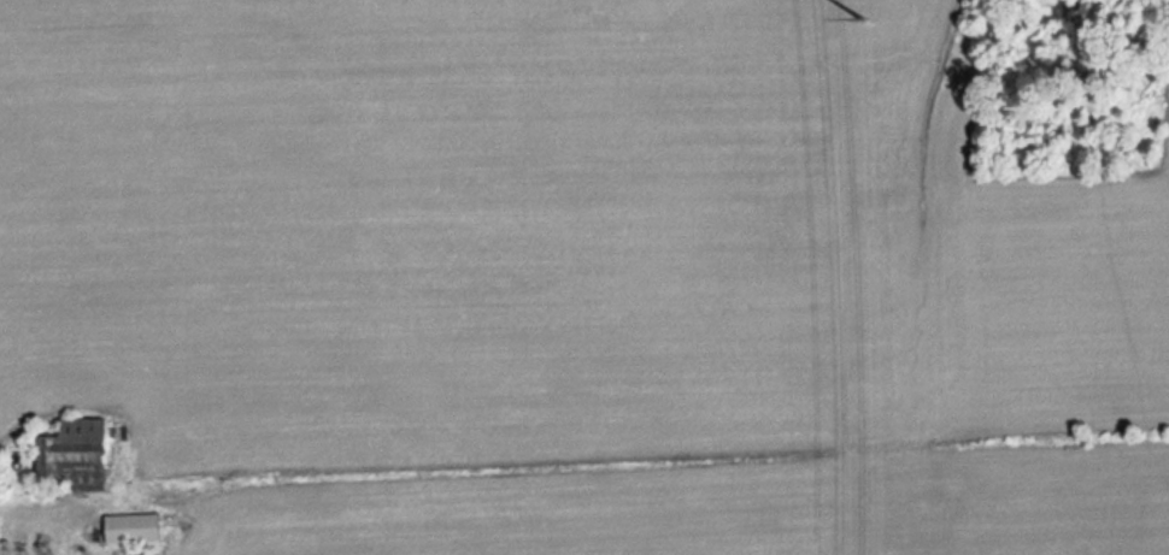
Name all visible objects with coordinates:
power tower: (858, 7)
building: (69, 454)
building: (129, 527)

